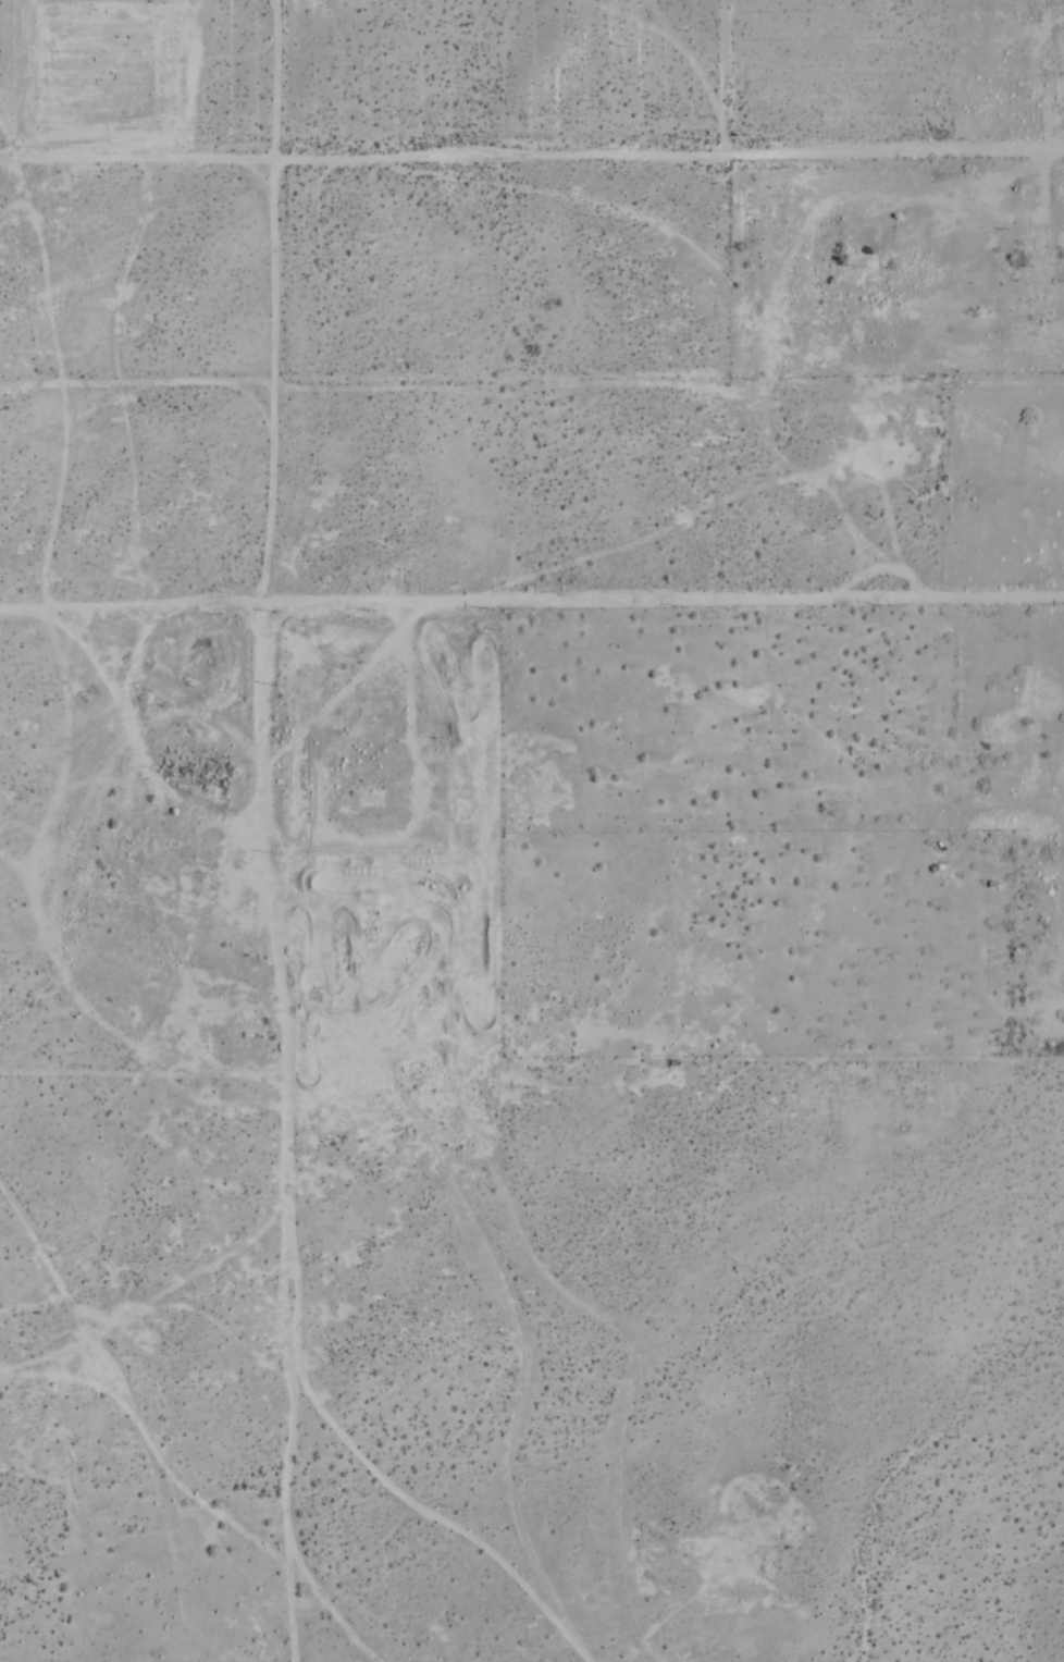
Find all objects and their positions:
road: (532, 159)
road: (270, 384)
road: (532, 602)

